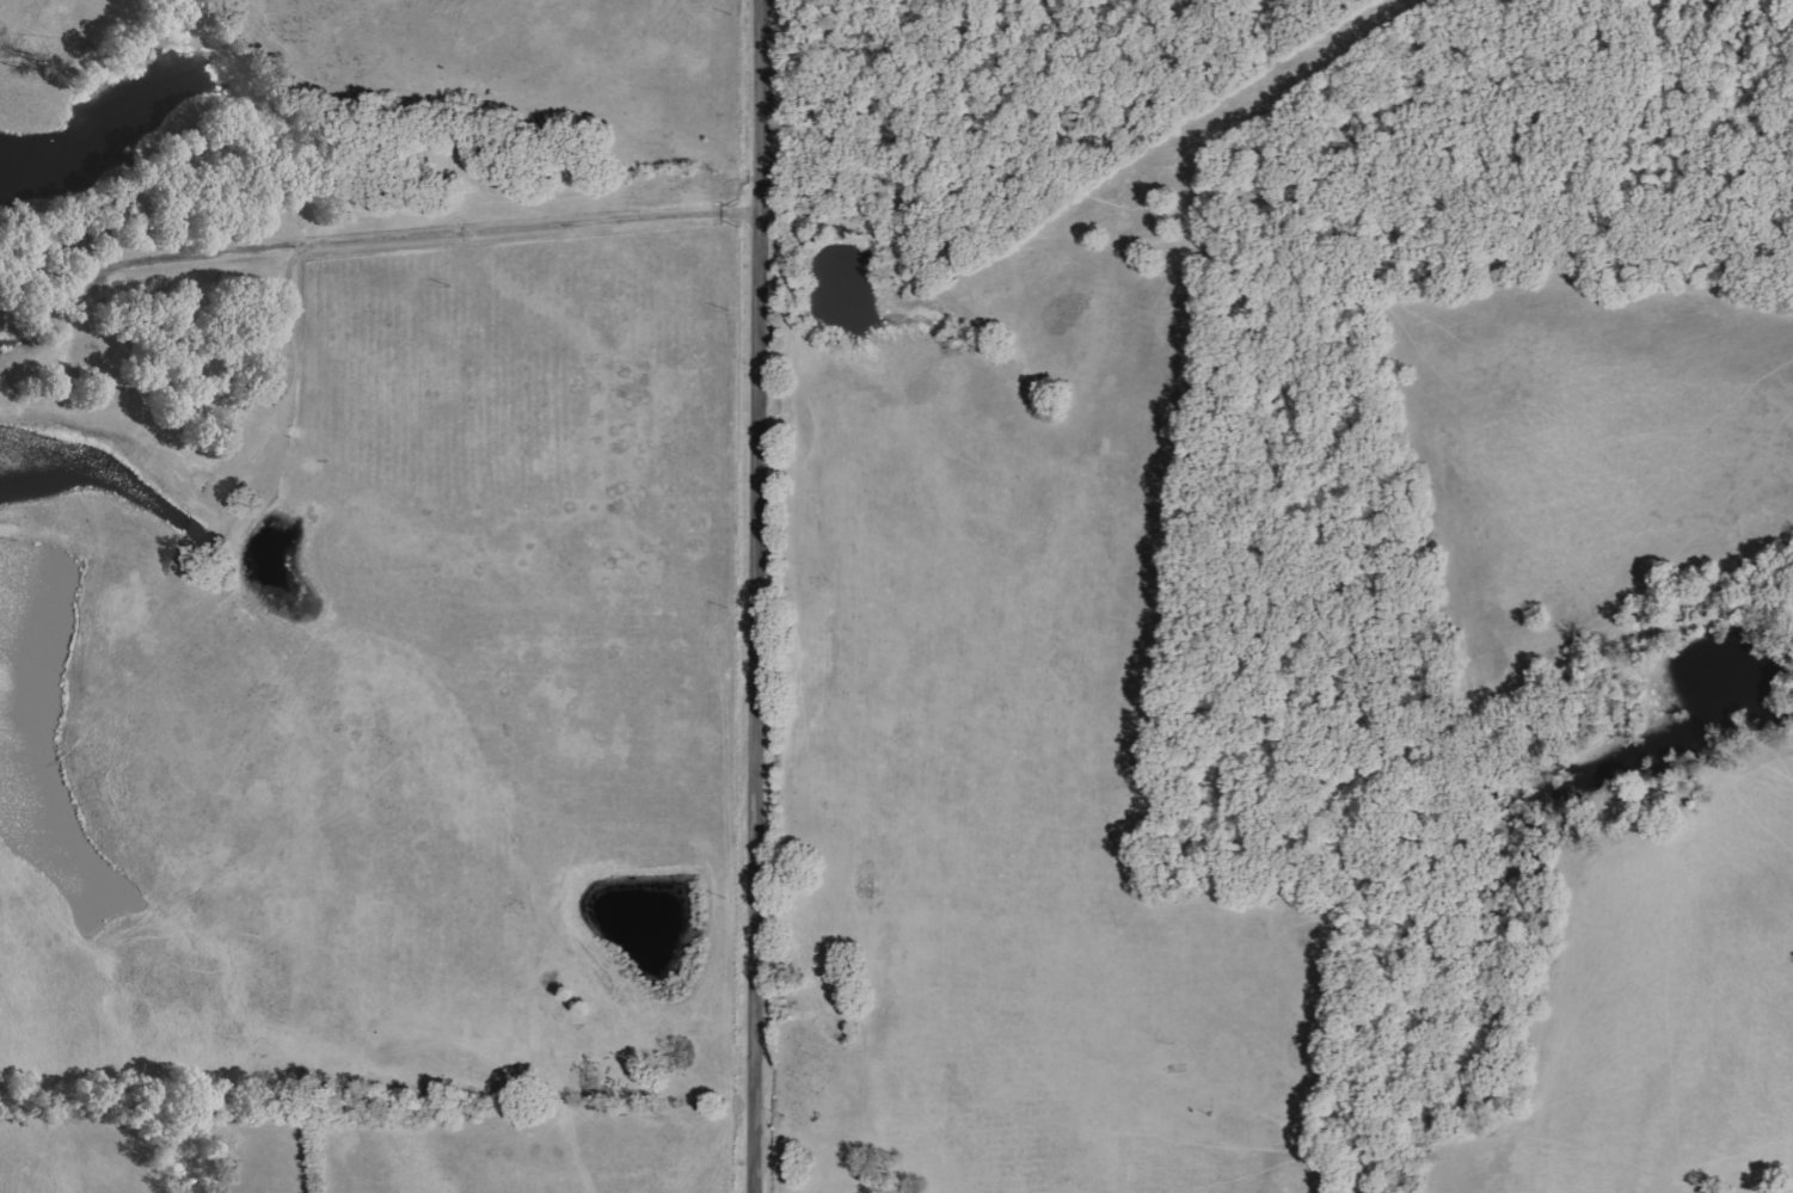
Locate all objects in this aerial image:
road: (401, 238)
road: (756, 596)
power tower: (724, 897)
building: (589, 1078)
power tower: (784, 1114)

